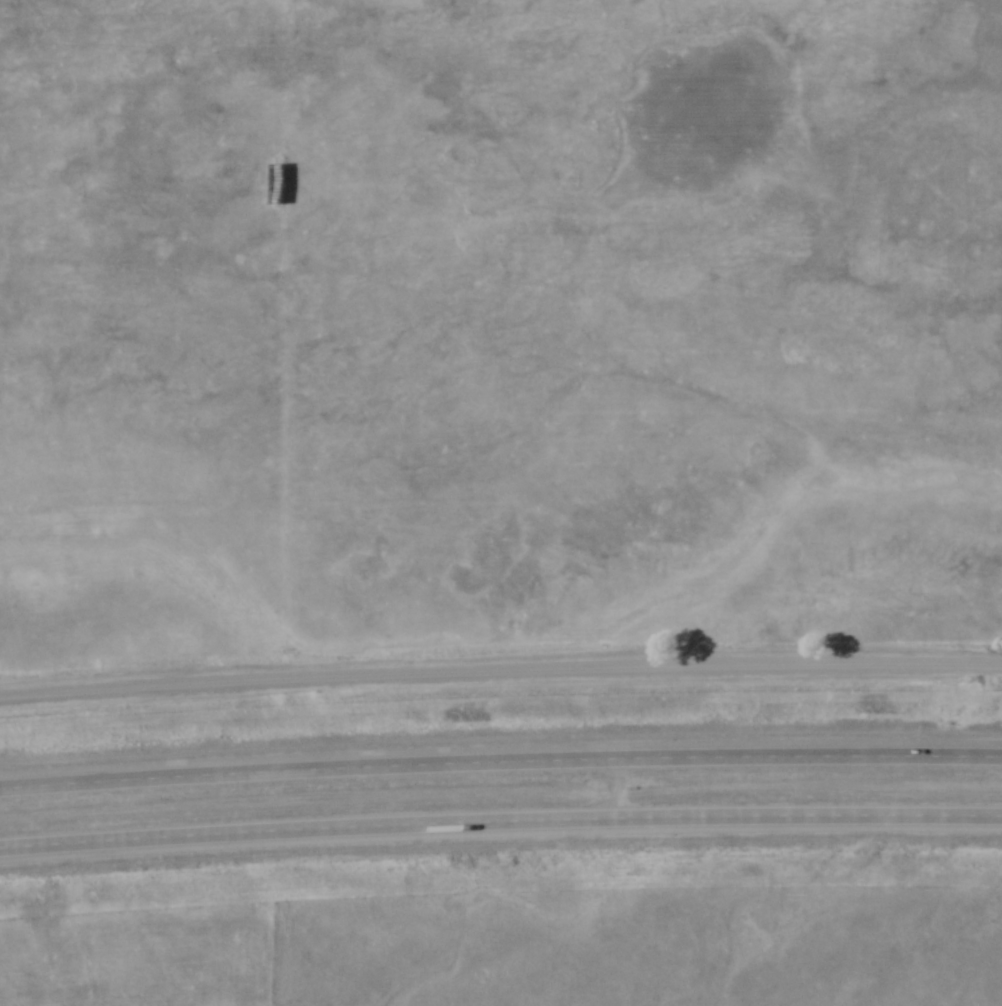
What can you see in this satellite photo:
road: (500, 673)
road: (500, 760)
road: (500, 819)

